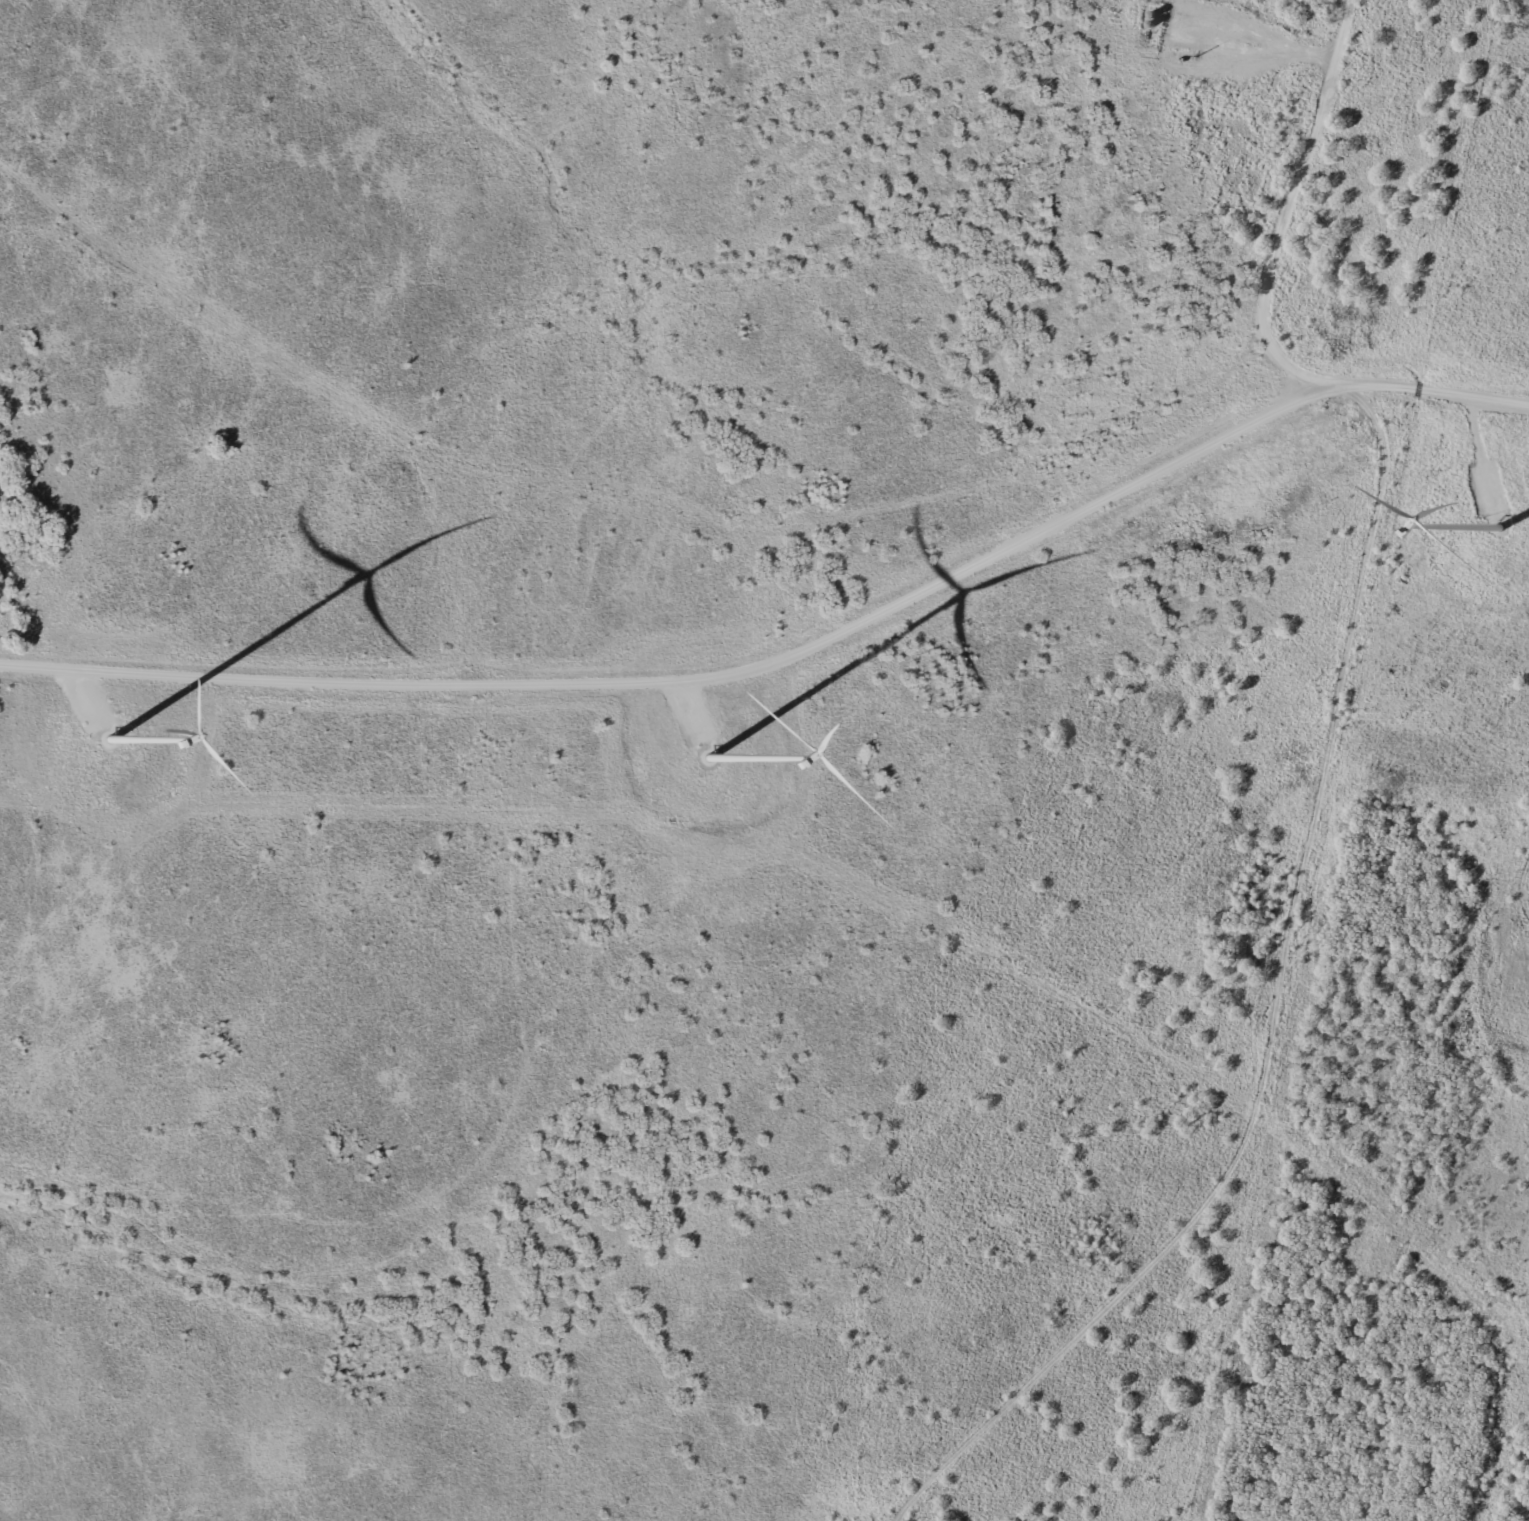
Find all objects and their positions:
road: (1287, 215)
road: (1438, 388)
road: (1302, 402)
wind turbine: (1494, 524)
wind turbine: (108, 740)
wind turbine: (707, 757)

